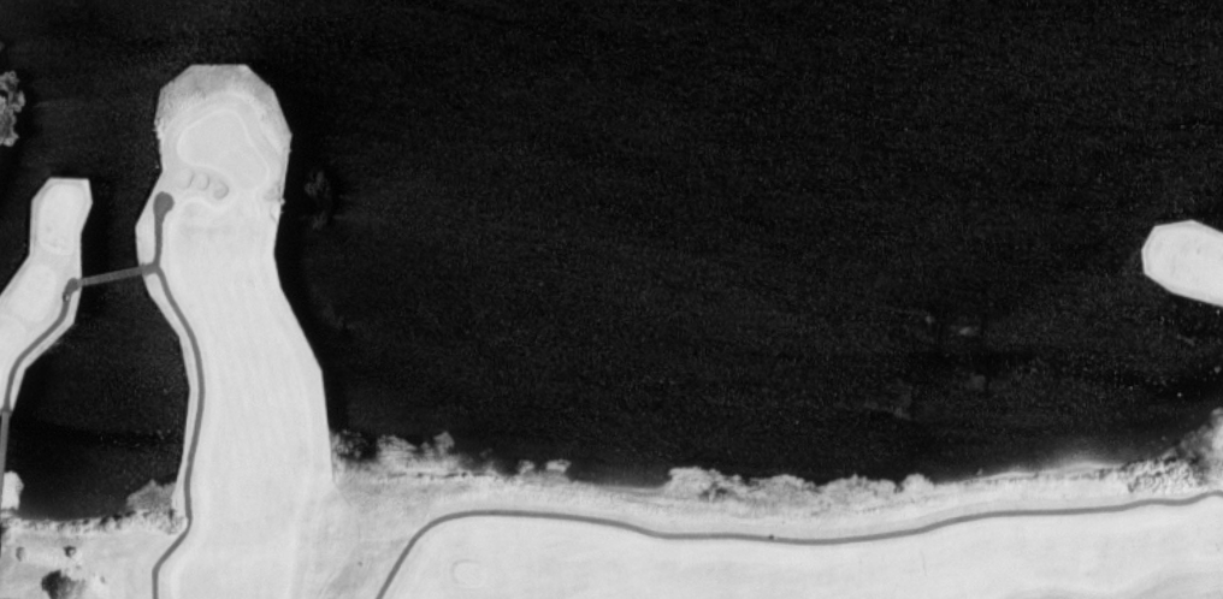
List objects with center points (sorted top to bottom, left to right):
road: (161, 192)
road: (154, 226)
road: (105, 272)
park: (611, 299)
road: (36, 333)
road: (1, 408)
road: (194, 425)
road: (779, 534)
road: (18, 597)

